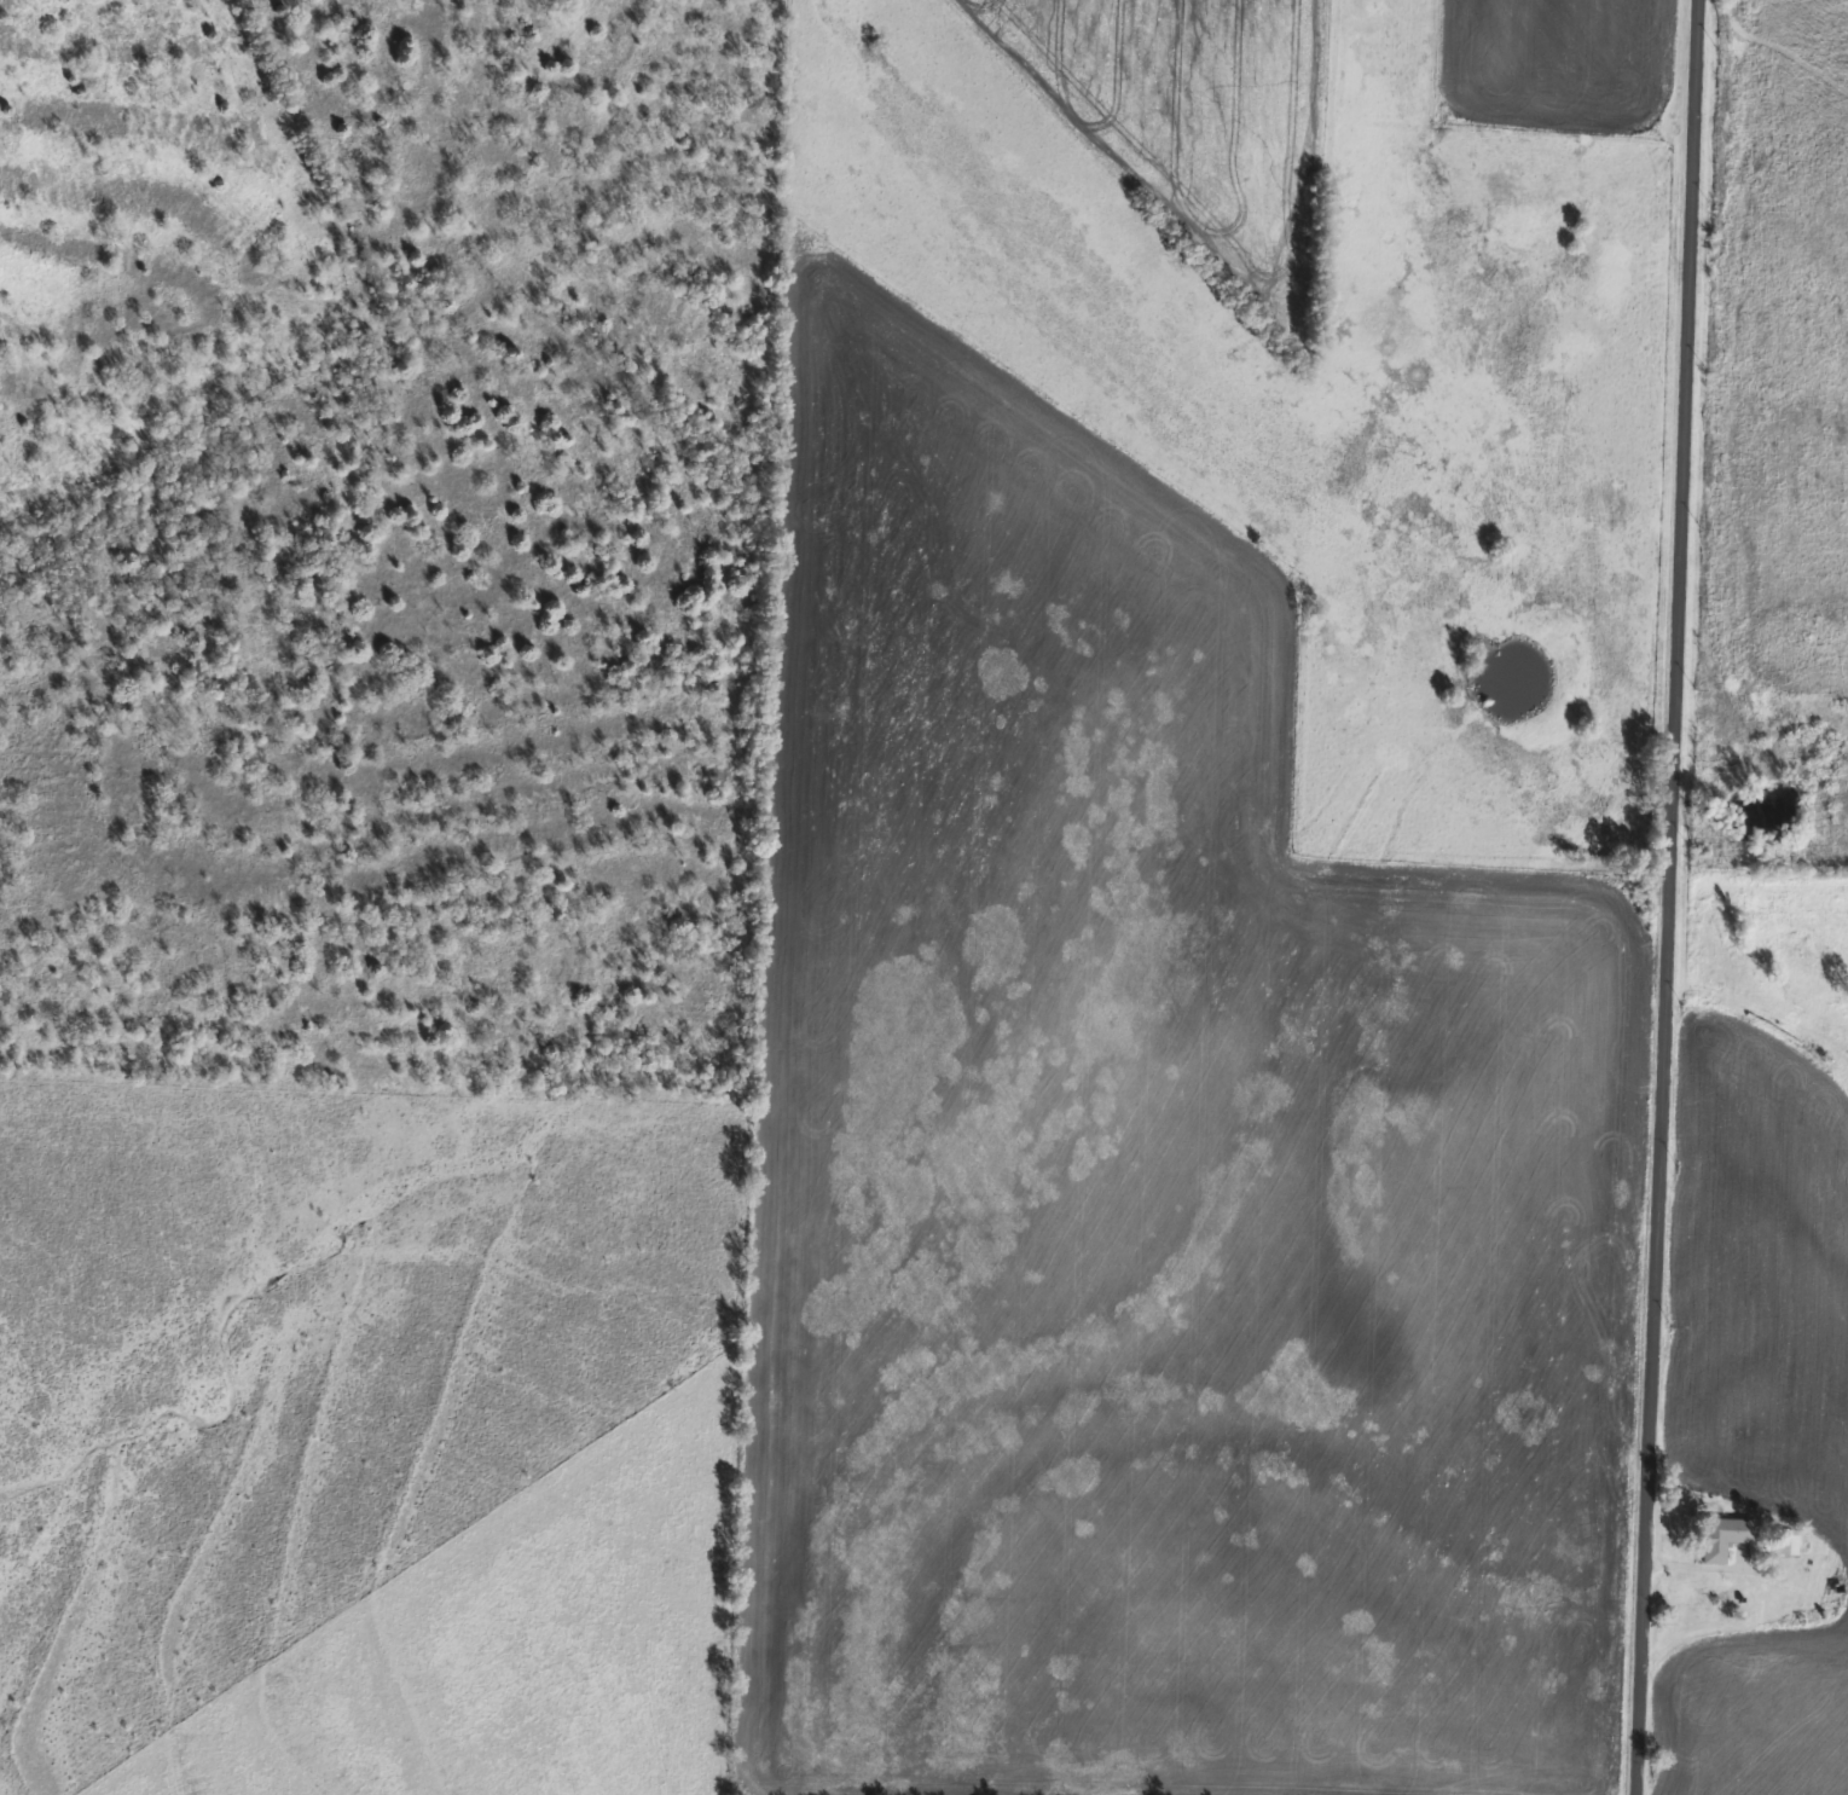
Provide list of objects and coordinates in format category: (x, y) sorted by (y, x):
road: (1664, 897)
building: (1722, 1536)
building: (1785, 1545)

